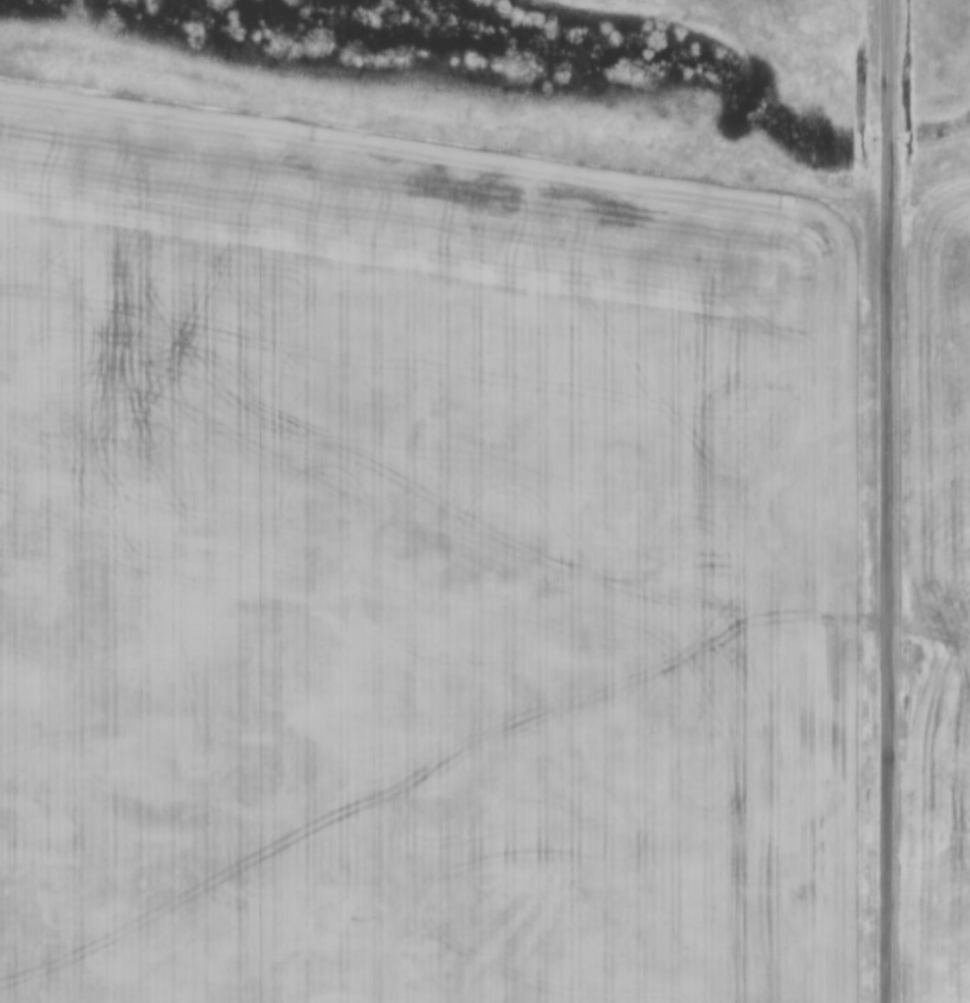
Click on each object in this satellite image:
road: (885, 501)

